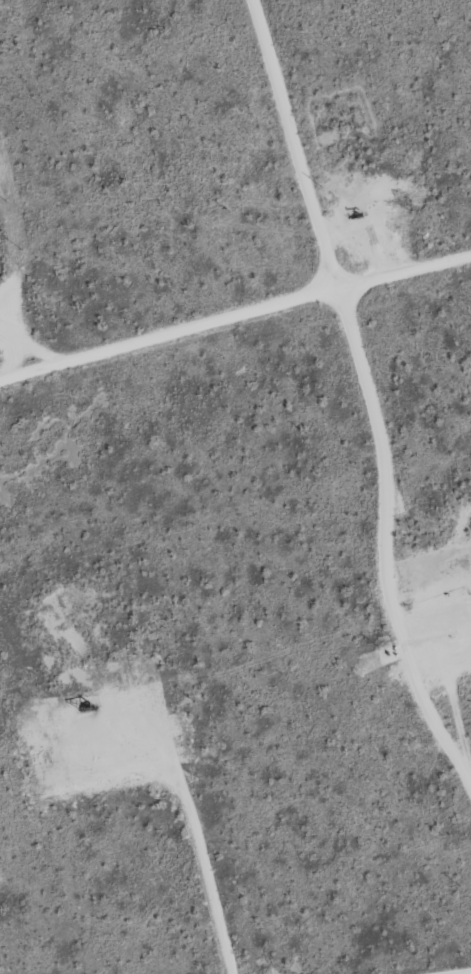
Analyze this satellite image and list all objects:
petroleum well: (356, 216)
road: (235, 313)
road: (372, 396)
petroleum well: (461, 595)
petroleum well: (87, 704)
road: (459, 971)

